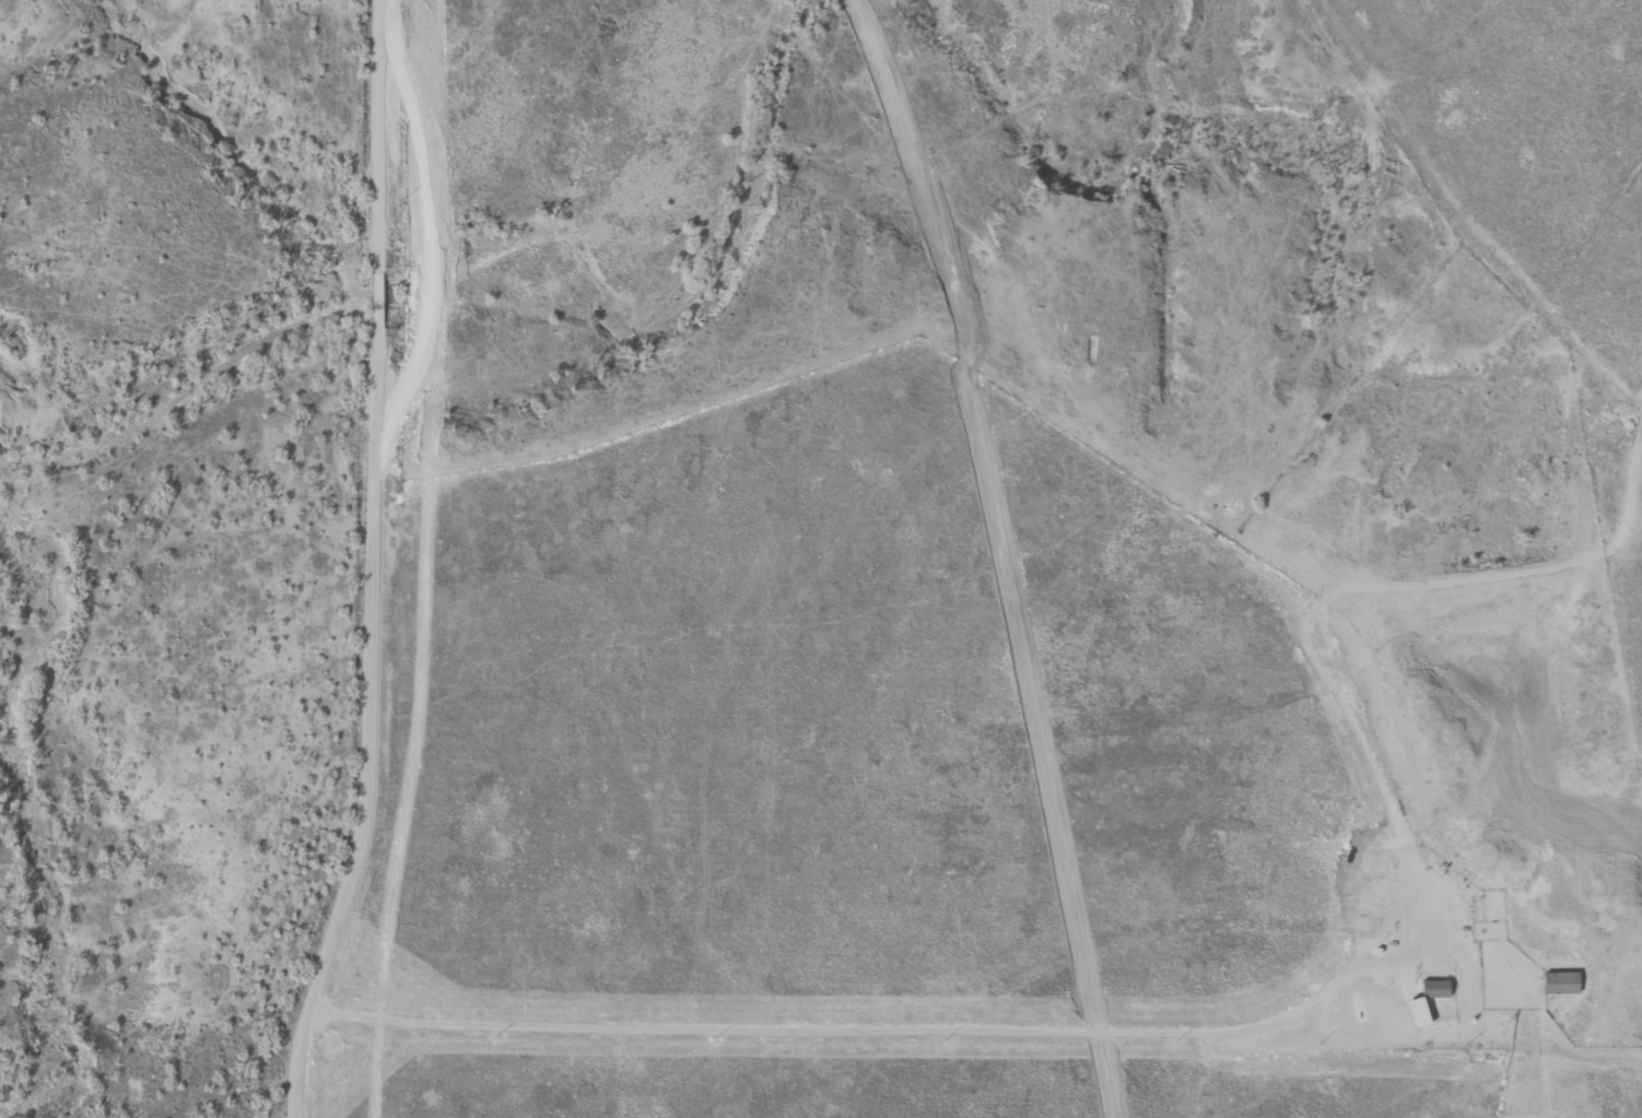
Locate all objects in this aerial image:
road: (394, 565)
road: (995, 1092)

